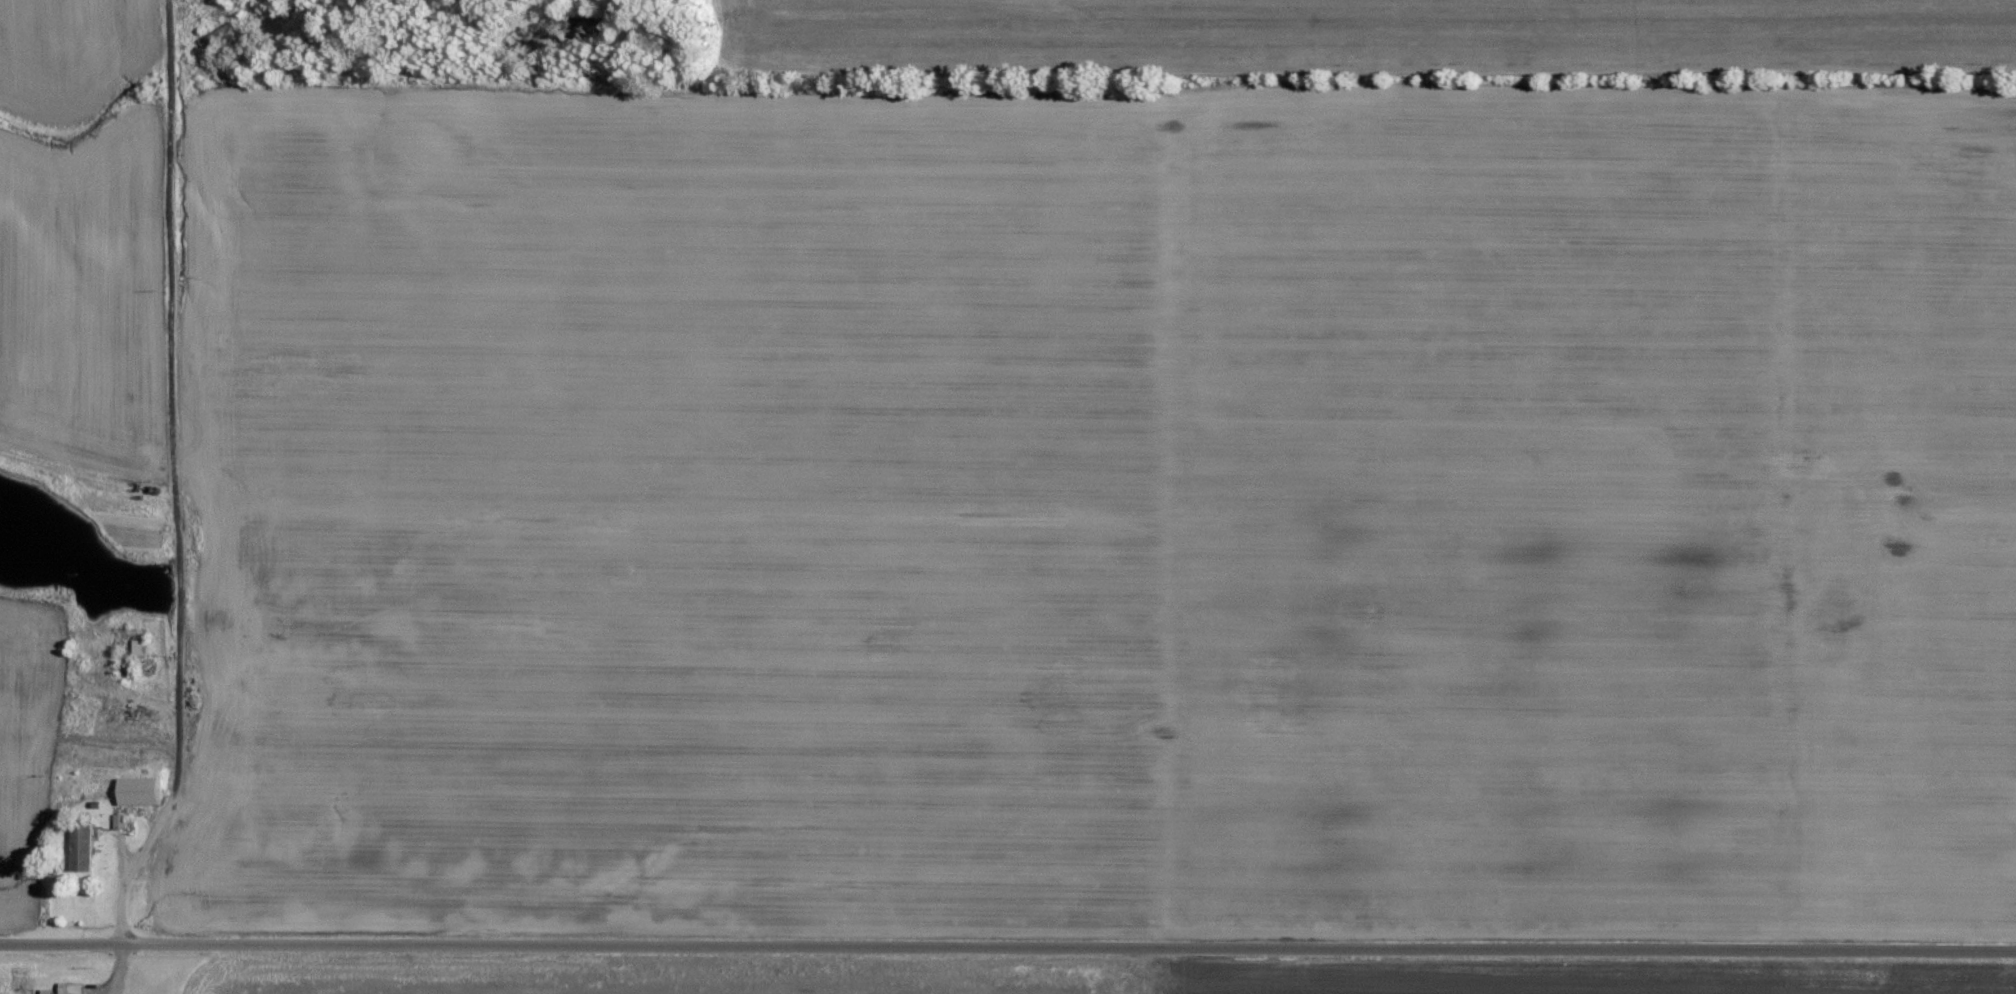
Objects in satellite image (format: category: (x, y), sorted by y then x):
building: (142, 647)
road: (127, 804)
building: (123, 820)
building: (86, 850)
road: (123, 906)
road: (1008, 945)

